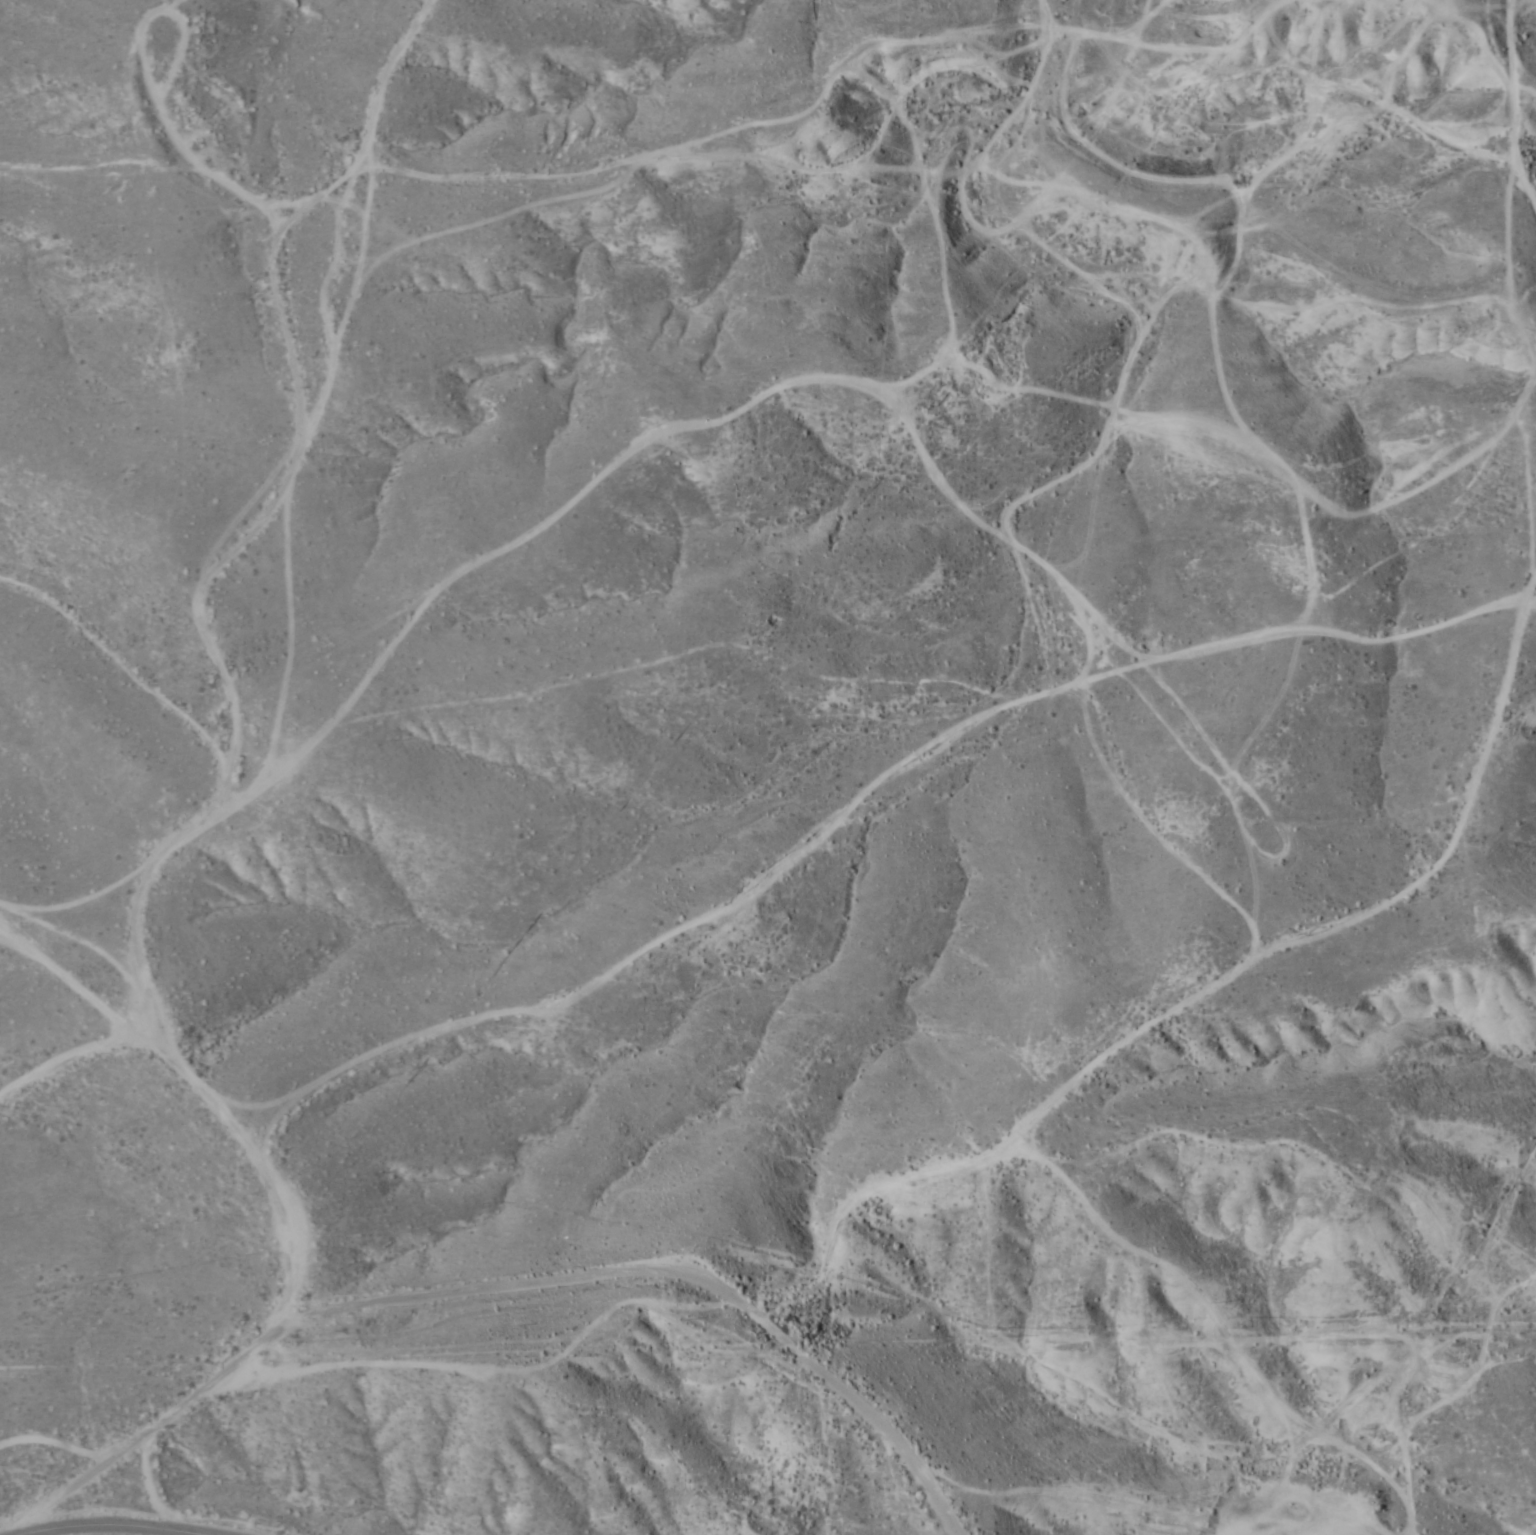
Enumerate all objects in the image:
road: (1477, 198)
road: (259, 240)
road: (302, 248)
road: (209, 687)
road: (1122, 1066)
road: (55, 1074)
road: (385, 1332)
road: (99, 1471)
road: (127, 1524)

